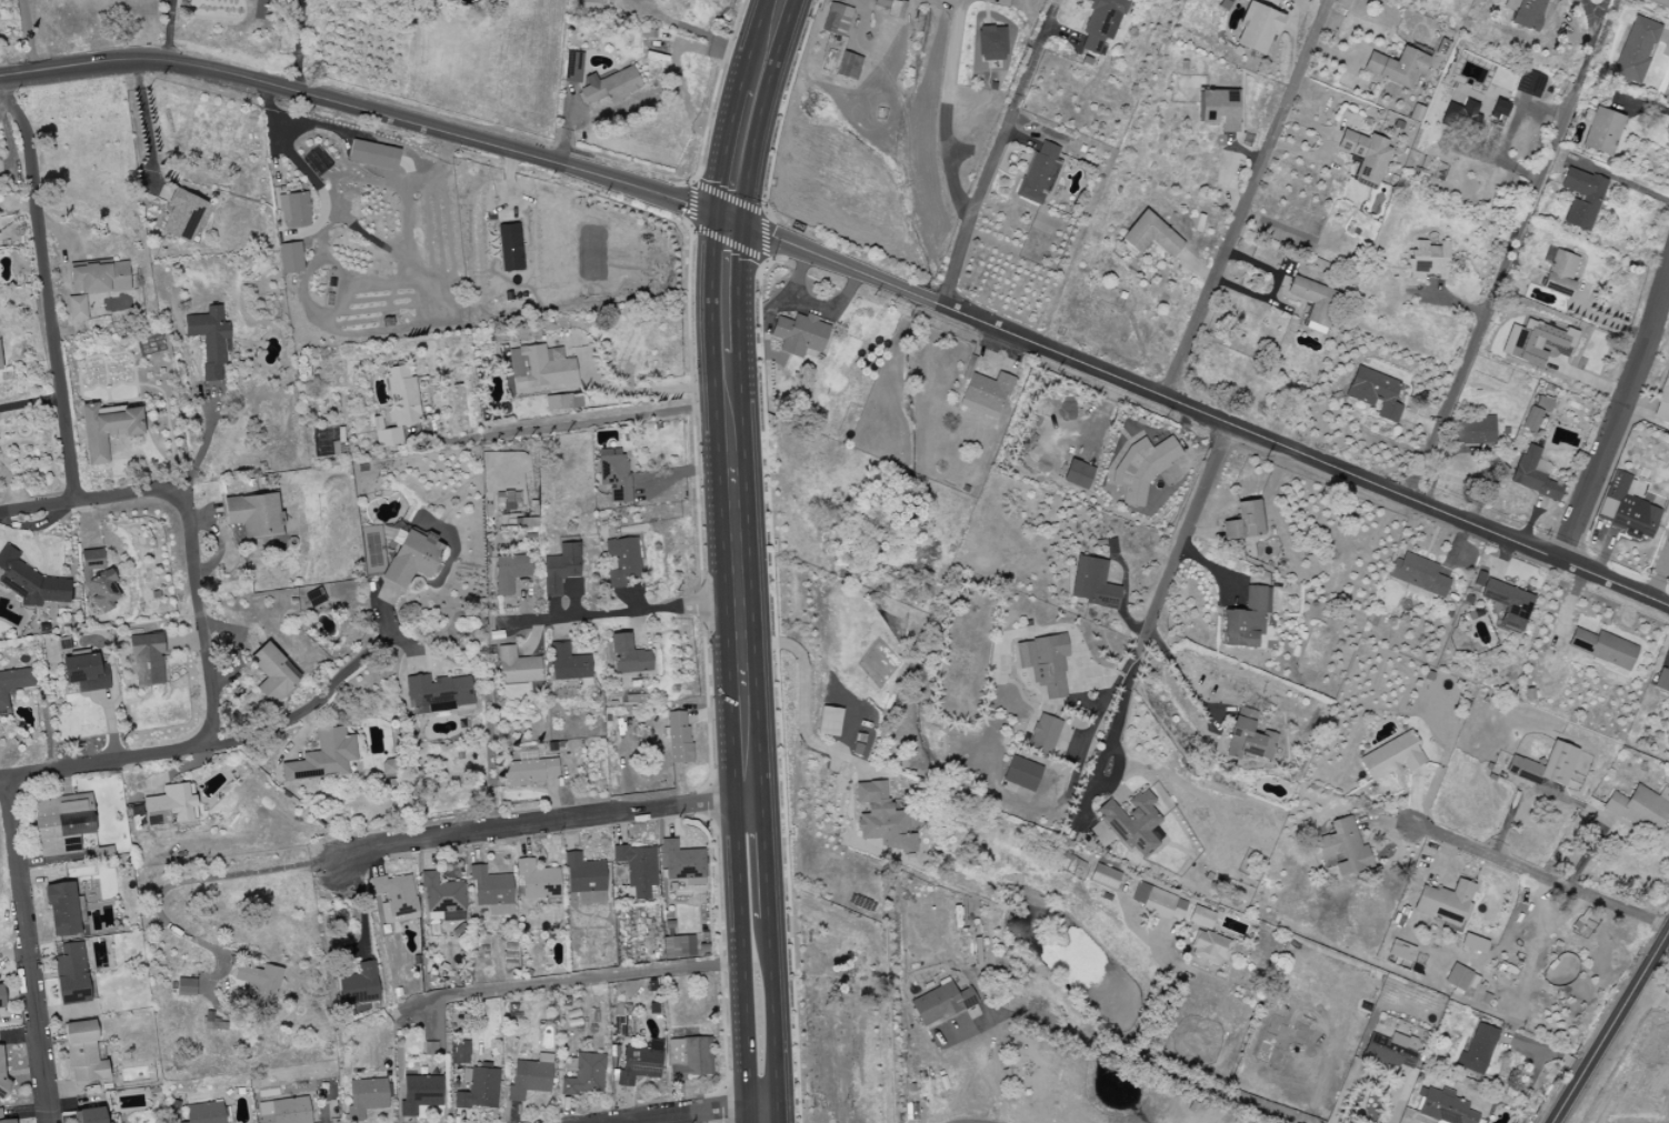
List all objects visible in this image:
building: (591, 1)
building: (1659, 3)
road: (946, 7)
building: (1525, 13)
road: (1595, 13)
road: (865, 18)
building: (836, 20)
building: (1101, 23)
building: (1257, 28)
road: (171, 31)
road: (699, 33)
road: (29, 37)
building: (991, 43)
road: (298, 46)
building: (1636, 50)
building: (848, 66)
building: (573, 67)
building: (1397, 67)
building: (1529, 83)
building: (610, 87)
road: (747, 108)
building: (1218, 109)
building: (1498, 109)
road: (367, 112)
building: (1461, 114)
road: (949, 117)
road: (150, 124)
building: (1602, 131)
road: (995, 152)
building: (1365, 153)
building: (373, 156)
road: (299, 164)
building: (1039, 173)
building: (1581, 198)
road: (1246, 199)
building: (294, 210)
building: (184, 214)
traffic signals: (727, 219)
building: (1151, 235)
building: (509, 248)
road: (1511, 249)
building: (290, 258)
building: (1427, 261)
building: (1558, 272)
building: (94, 284)
road: (48, 287)
building: (1313, 300)
road: (808, 304)
building: (799, 334)
building: (209, 339)
building: (1535, 342)
building: (0, 363)
building: (541, 367)
building: (1375, 393)
road: (636, 394)
building: (985, 394)
building: (402, 395)
building: (1662, 401)
building: (562, 402)
road: (31, 403)
road: (1198, 411)
building: (1536, 413)
road: (1613, 414)
road: (579, 424)
building: (108, 429)
building: (1475, 431)
building: (387, 434)
building: (1141, 468)
building: (613, 473)
building: (1078, 474)
building: (1533, 474)
road: (112, 498)
road: (730, 508)
building: (1627, 509)
building: (254, 514)
building: (1243, 522)
building: (1668, 541)
road: (1173, 557)
building: (412, 558)
building: (621, 561)
building: (510, 572)
building: (1418, 574)
building: (30, 582)
building: (98, 583)
building: (1092, 583)
building: (1506, 602)
road: (616, 614)
road: (200, 616)
building: (1246, 619)
building: (1605, 650)
building: (629, 656)
building: (147, 660)
building: (1045, 663)
building: (569, 664)
building: (517, 666)
building: (86, 672)
building: (273, 673)
road: (1179, 675)
building: (1662, 681)
building: (12, 685)
building: (438, 694)
road: (804, 708)
building: (829, 721)
building: (1043, 734)
building: (679, 736)
building: (1251, 739)
road: (1112, 741)
road: (216, 744)
building: (323, 756)
building: (1391, 758)
building: (388, 766)
building: (1546, 768)
building: (530, 769)
building: (1021, 773)
building: (169, 805)
building: (1639, 811)
building: (881, 819)
building: (1132, 822)
road: (539, 824)
building: (60, 825)
building: (1346, 846)
building: (682, 862)
building: (638, 870)
road: (1541, 876)
building: (1103, 878)
building: (586, 880)
building: (538, 881)
road: (188, 883)
building: (492, 891)
building: (396, 898)
building: (442, 899)
building: (1158, 902)
building: (1446, 903)
building: (62, 910)
building: (1201, 918)
building: (1473, 943)
building: (678, 946)
building: (1210, 947)
road: (28, 950)
building: (1402, 951)
road: (769, 956)
road: (740, 960)
building: (71, 974)
road: (607, 975)
building: (1460, 979)
building: (260, 984)
building: (359, 985)
building: (186, 987)
building: (1, 996)
road: (1161, 996)
road: (1650, 999)
building: (941, 1003)
road: (1610, 1026)
building: (1477, 1051)
building: (1391, 1052)
building: (83, 1053)
building: (689, 1057)
road: (1143, 1062)
building: (640, 1063)
building: (2, 1070)
road: (1368, 1073)
building: (586, 1076)
building: (530, 1077)
building: (474, 1080)
building: (420, 1093)
building: (367, 1096)
building: (1448, 1109)
building: (284, 1111)
building: (0, 1113)
building: (204, 1113)
road: (702, 1113)
building: (90, 1115)

